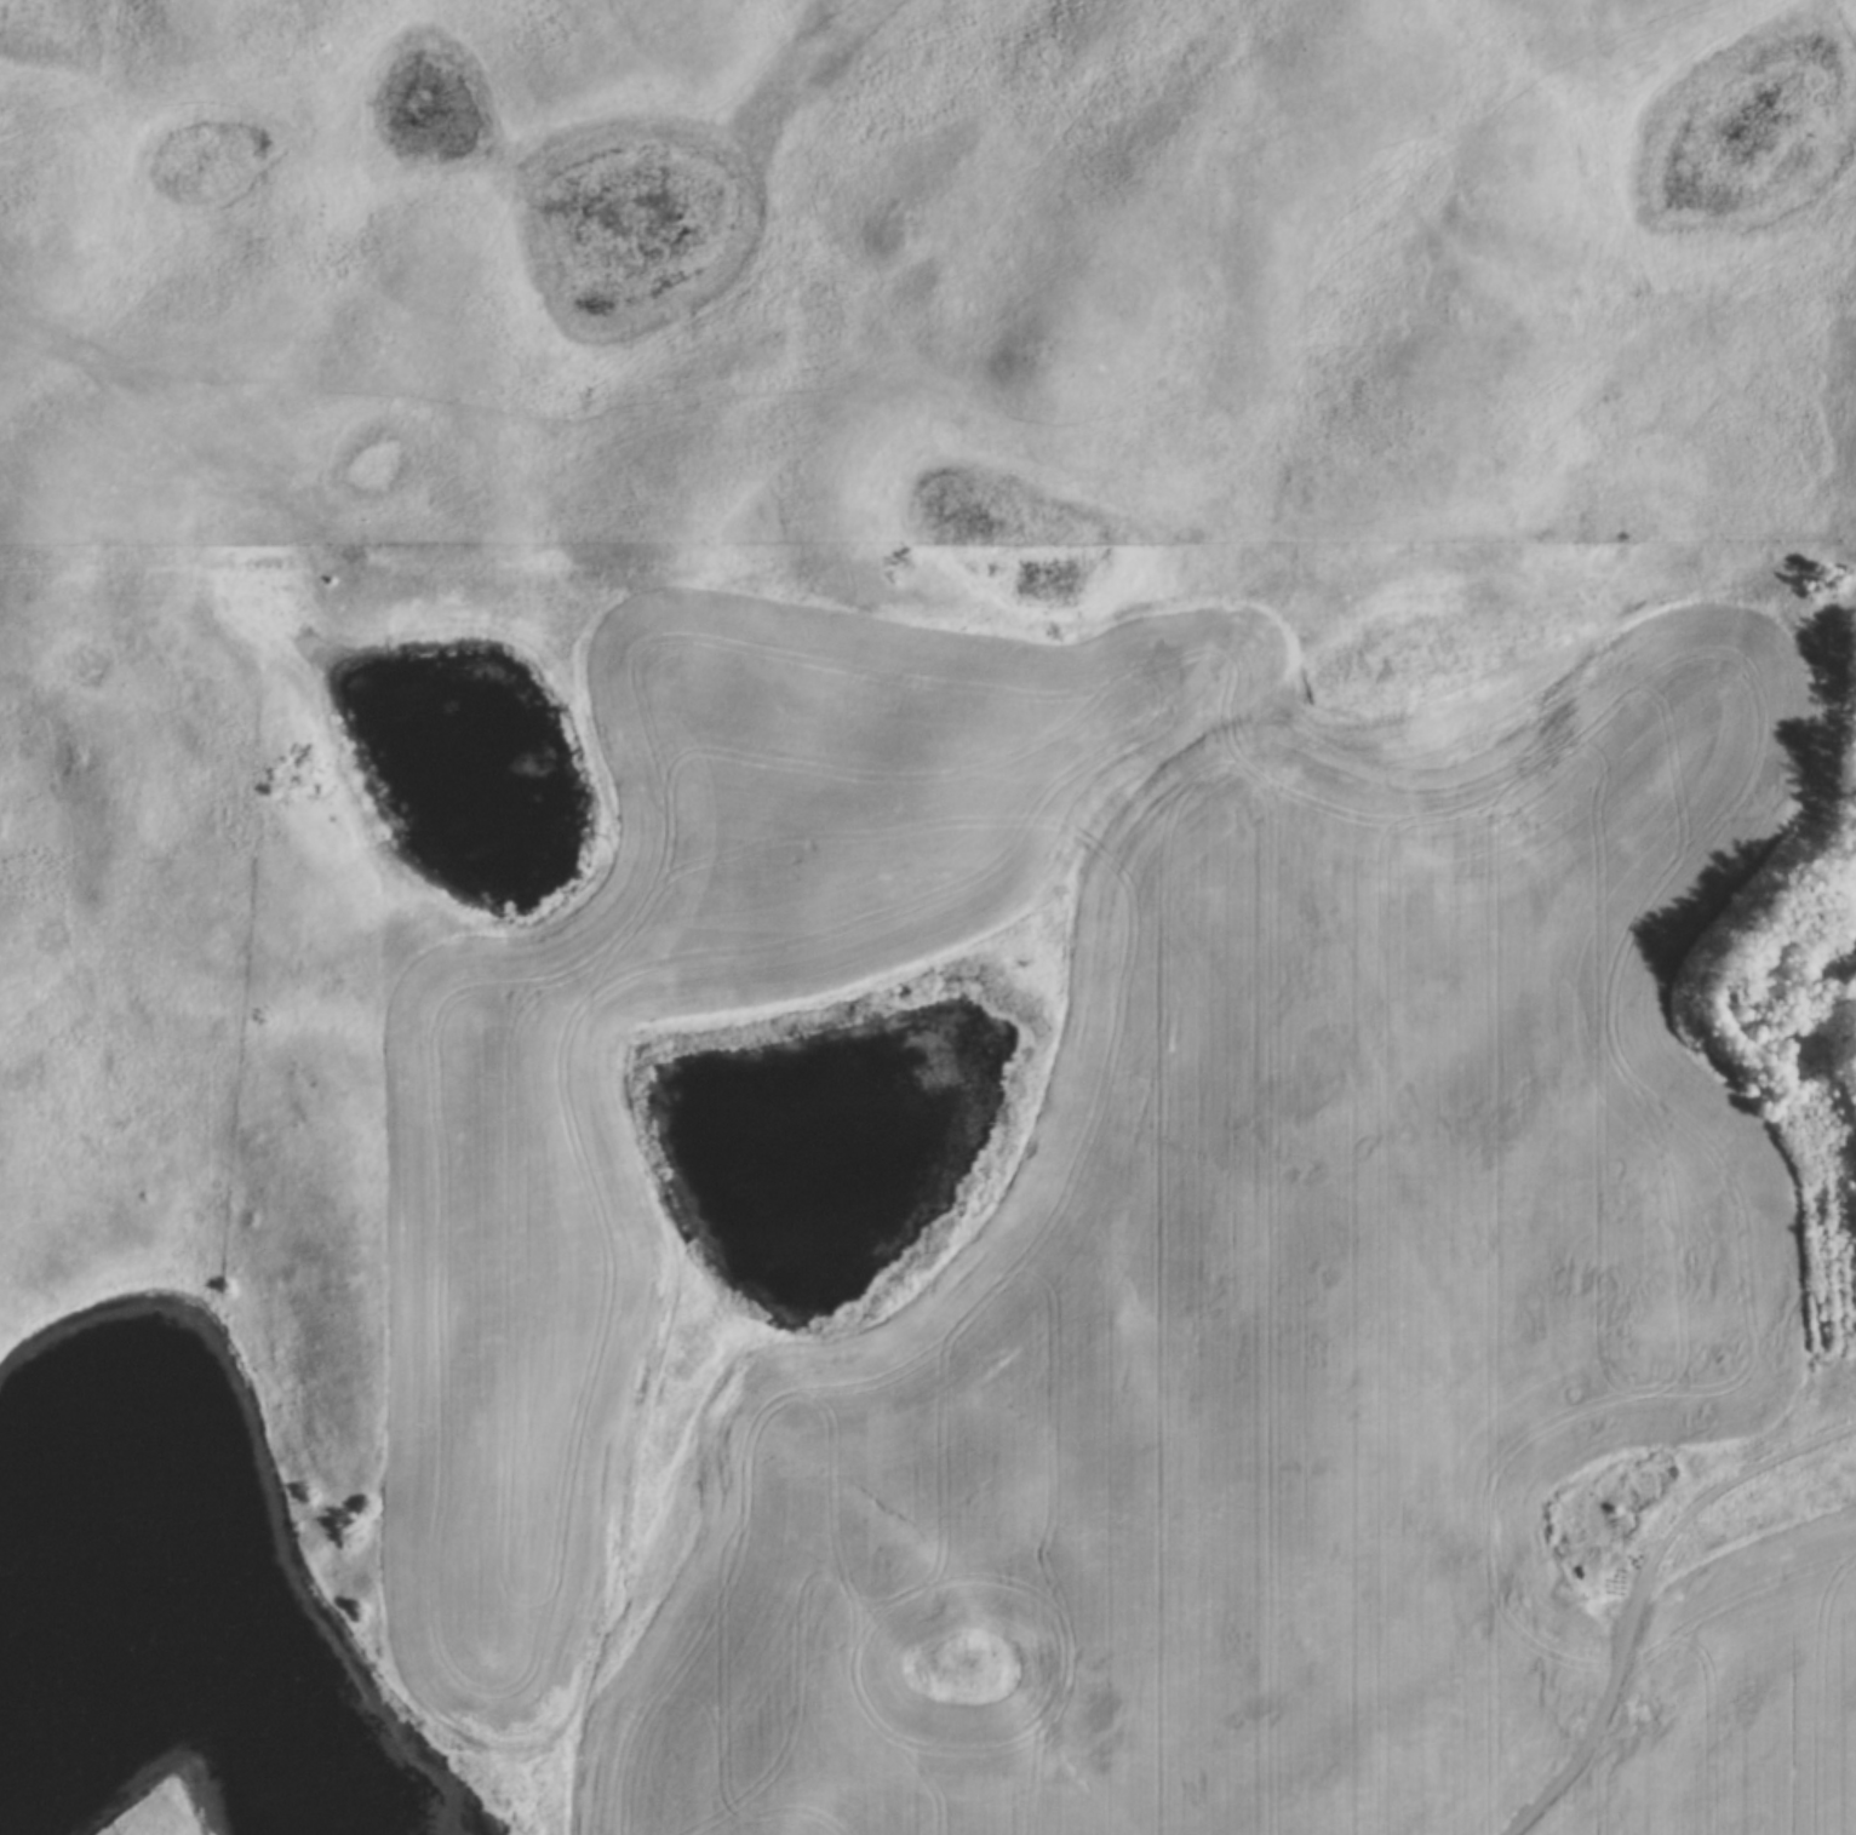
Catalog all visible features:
road: (1636, 1588)

